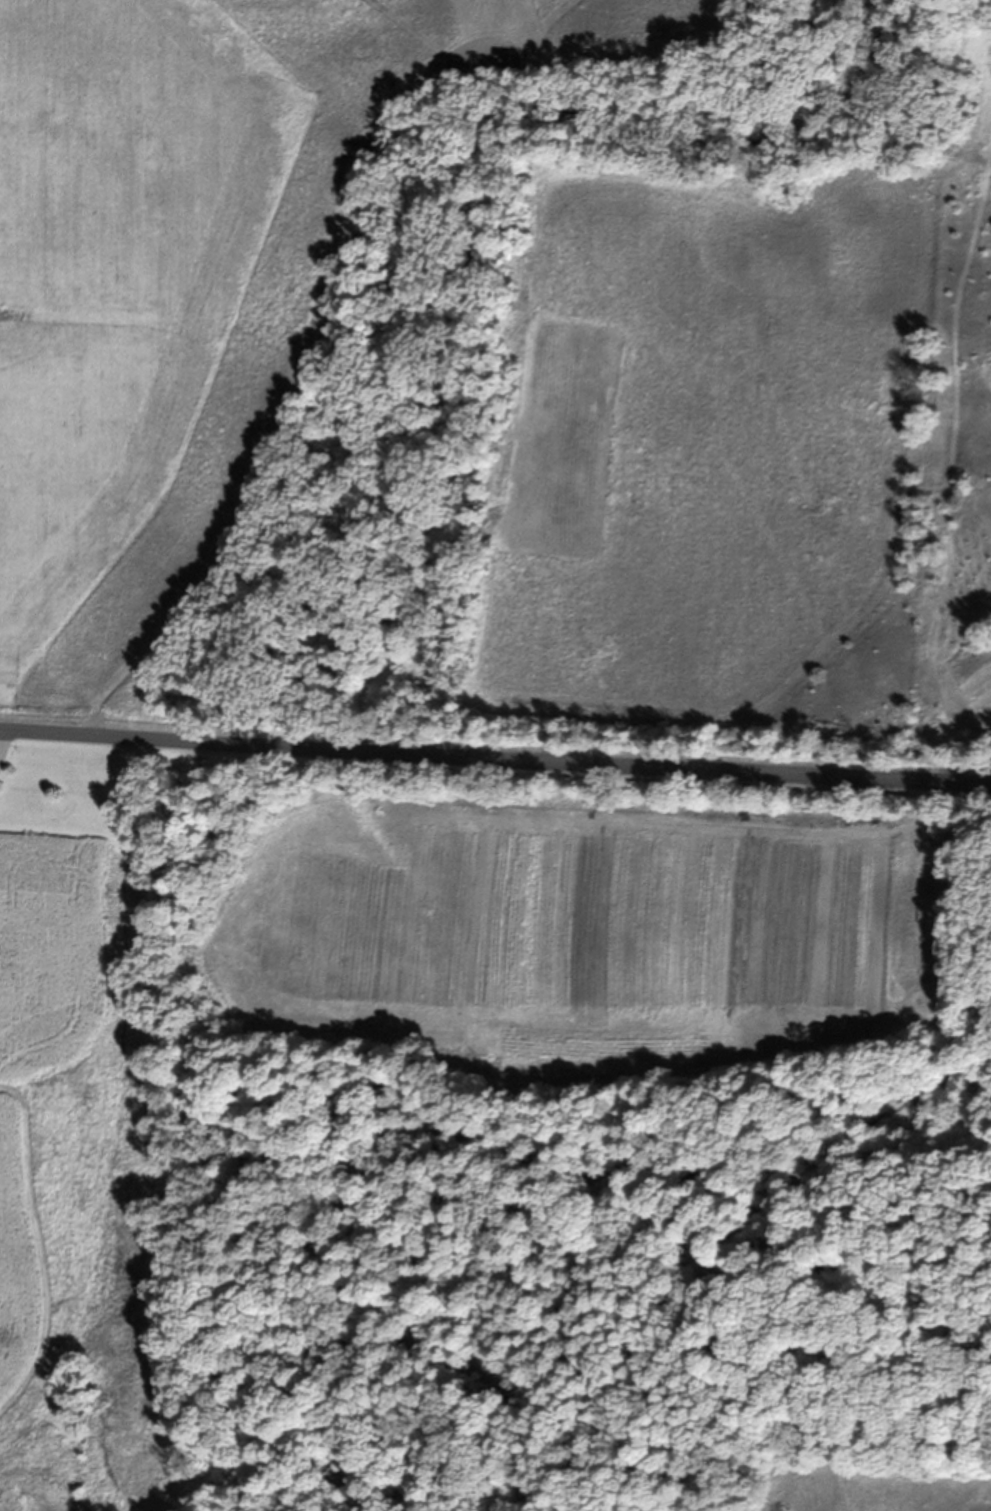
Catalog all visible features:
road: (0, 733)
road: (495, 752)

